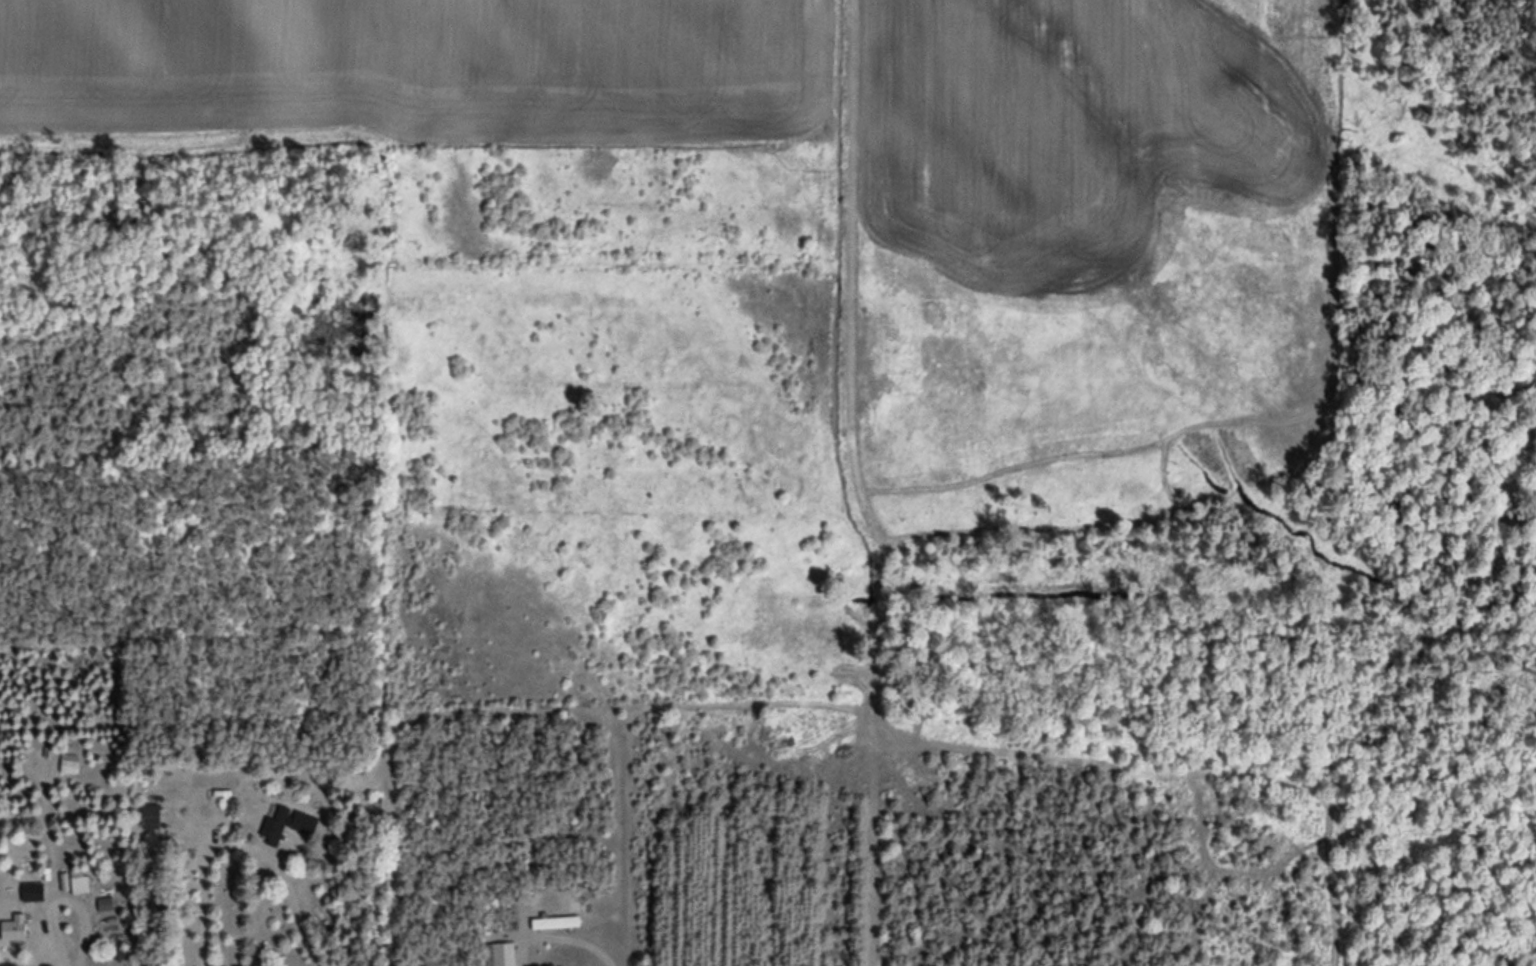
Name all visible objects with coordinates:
building: (156, 816)
building: (276, 822)
building: (306, 823)
building: (82, 884)
building: (34, 891)
building: (556, 921)
building: (16, 927)
building: (505, 954)

